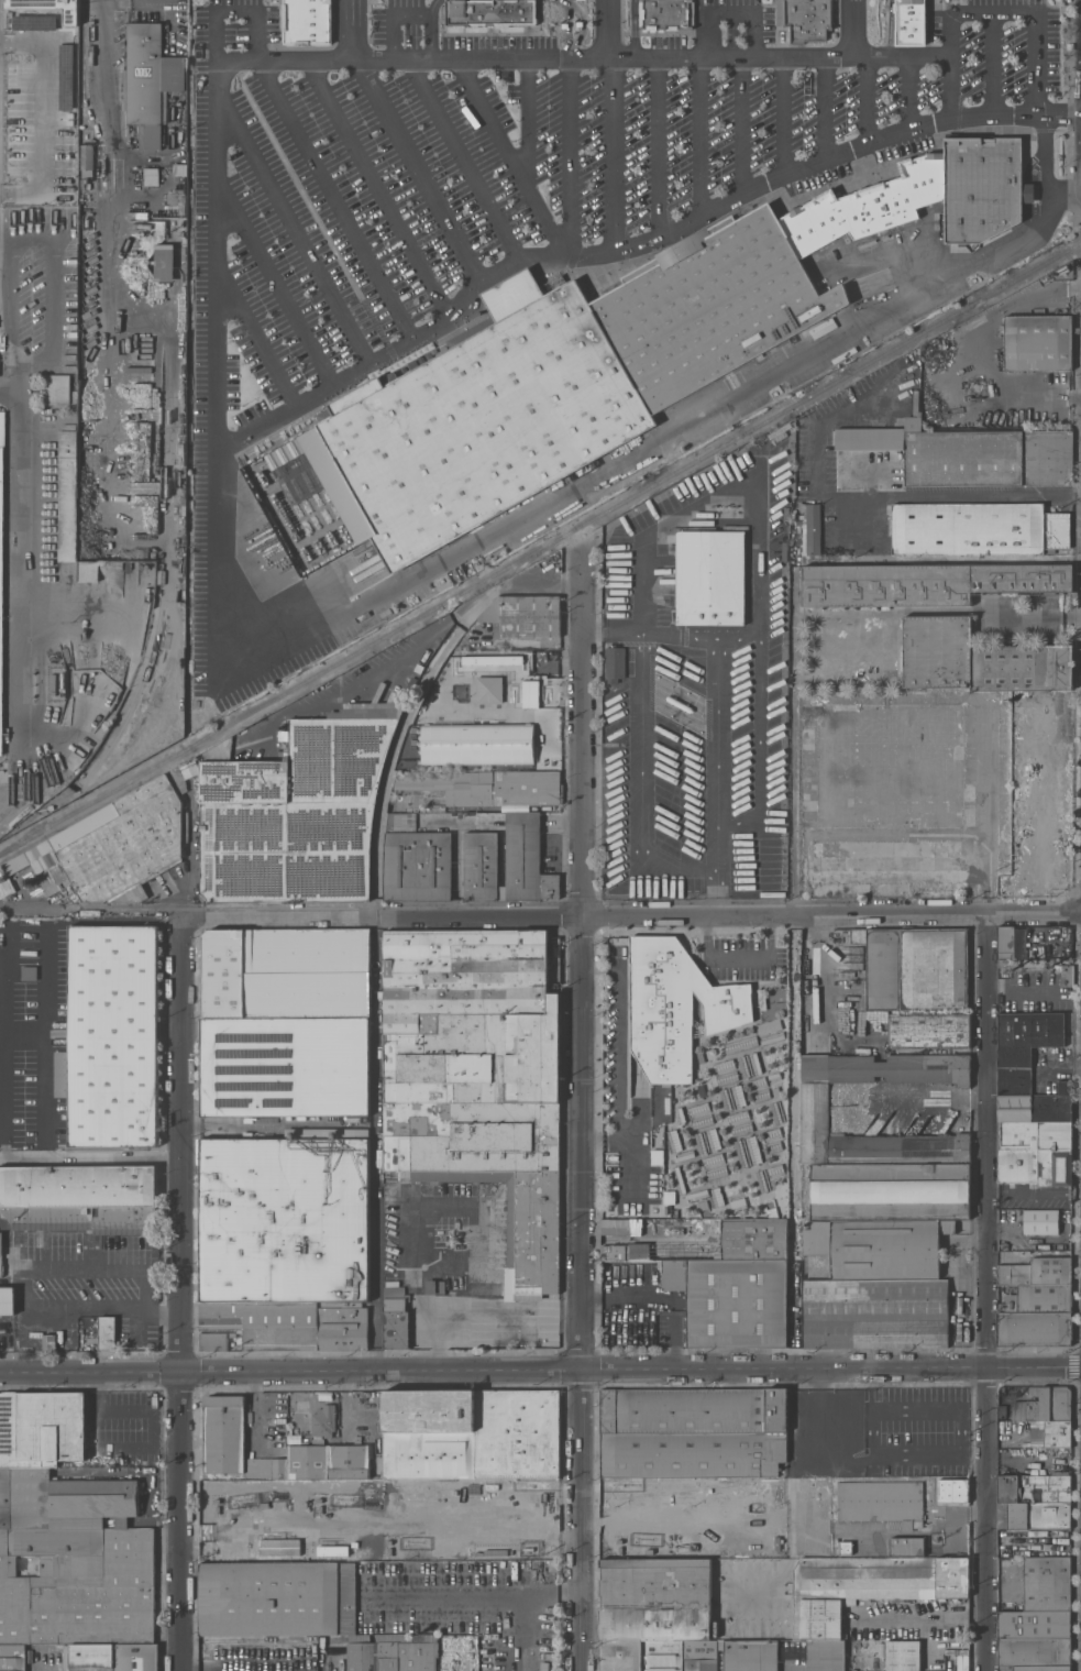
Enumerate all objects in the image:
building: (32, 3)
road: (947, 7)
building: (69, 8)
road: (748, 9)
road: (233, 10)
building: (492, 14)
building: (664, 14)
road: (393, 18)
building: (805, 18)
building: (306, 21)
building: (33, 22)
building: (909, 22)
road: (582, 25)
road: (889, 26)
road: (430, 28)
road: (566, 28)
road: (632, 28)
road: (698, 28)
road: (851, 28)
road: (604, 29)
road: (352, 30)
building: (67, 58)
road: (989, 65)
building: (148, 79)
building: (10, 84)
road: (950, 86)
road: (905, 88)
road: (868, 92)
road: (823, 105)
road: (783, 110)
road: (522, 117)
road: (737, 120)
road: (698, 130)
road: (654, 140)
road: (569, 150)
road: (604, 153)
road: (1044, 154)
parking lot: (599, 157)
building: (86, 160)
road: (465, 161)
building: (179, 168)
road: (417, 172)
building: (151, 176)
building: (67, 183)
building: (85, 183)
road: (379, 183)
building: (983, 186)
road: (332, 195)
building: (868, 204)
road: (695, 205)
building: (85, 221)
road: (47, 231)
building: (142, 231)
road: (287, 232)
road: (4, 239)
road: (108, 241)
building: (163, 264)
road: (272, 285)
building: (947, 287)
road: (1073, 303)
building: (709, 304)
building: (893, 322)
building: (823, 328)
road: (254, 331)
building: (1036, 341)
road: (389, 343)
road: (973, 343)
road: (214, 352)
building: (832, 358)
building: (68, 362)
building: (55, 388)
road: (1073, 394)
road: (9, 395)
building: (473, 421)
building: (969, 452)
building: (66, 495)
road: (886, 495)
building: (977, 527)
building: (812, 528)
building: (0, 549)
railway: (540, 549)
road: (757, 560)
building: (87, 570)
building: (708, 573)
building: (924, 582)
road: (19, 586)
building: (796, 590)
railway: (163, 611)
building: (523, 615)
road: (1032, 616)
building: (842, 631)
road: (618, 634)
road: (737, 635)
building: (977, 658)
building: (613, 663)
road: (716, 717)
road: (793, 750)
building: (486, 785)
road: (639, 787)
building: (295, 811)
road: (989, 812)
building: (113, 845)
road: (184, 846)
building: (384, 855)
building: (505, 858)
building: (415, 860)
building: (0, 870)
building: (5, 888)
road: (709, 892)
road: (717, 892)
road: (540, 915)
road: (770, 931)
building: (1005, 941)
road: (721, 957)
building: (1006, 961)
building: (1034, 961)
road: (821, 963)
building: (914, 967)
building: (29, 971)
building: (284, 972)
building: (1065, 974)
building: (674, 1005)
building: (927, 1030)
building: (770, 1031)
building: (1026, 1035)
building: (110, 1036)
building: (740, 1043)
road: (1049, 1060)
building: (749, 1065)
building: (284, 1066)
road: (619, 1067)
building: (725, 1073)
building: (774, 1077)
building: (477, 1078)
building: (1013, 1080)
building: (1063, 1086)
building: (759, 1089)
building: (698, 1090)
building: (732, 1098)
road: (925, 1101)
building: (1034, 1107)
building: (815, 1109)
building: (776, 1111)
building: (679, 1114)
building: (699, 1114)
building: (936, 1117)
road: (588, 1120)
building: (739, 1122)
building: (1035, 1134)
building: (772, 1139)
building: (674, 1141)
building: (706, 1141)
road: (181, 1143)
road: (42, 1144)
building: (747, 1151)
building: (684, 1155)
building: (657, 1156)
road: (627, 1165)
building: (714, 1166)
building: (1035, 1166)
building: (768, 1177)
building: (677, 1179)
building: (889, 1190)
road: (990, 1192)
road: (1033, 1192)
building: (707, 1194)
road: (1070, 1194)
road: (1076, 1194)
building: (668, 1196)
building: (78, 1198)
building: (737, 1201)
road: (423, 1205)
building: (285, 1218)
building: (1039, 1221)
building: (752, 1239)
building: (878, 1246)
building: (1, 1253)
building: (1036, 1271)
road: (23, 1285)
building: (433, 1286)
building: (484, 1289)
road: (983, 1291)
road: (664, 1297)
building: (1037, 1298)
building: (7, 1299)
building: (730, 1299)
building: (874, 1312)
road: (460, 1313)
road: (561, 1313)
building: (395, 1316)
building: (291, 1324)
building: (1034, 1328)
building: (106, 1332)
building: (213, 1340)
building: (48, 1341)
road: (632, 1371)
road: (91, 1373)
building: (1044, 1405)
building: (1001, 1410)
road: (256, 1411)
building: (321, 1422)
building: (42, 1428)
building: (692, 1431)
building: (222, 1432)
building: (468, 1433)
building: (1049, 1433)
building: (321, 1461)
building: (1034, 1488)
building: (952, 1489)
building: (5, 1497)
building: (68, 1499)
building: (880, 1500)
building: (1038, 1515)
road: (180, 1521)
building: (906, 1546)
building: (278, 1547)
building: (845, 1547)
building: (1046, 1583)
building: (77, 1585)
building: (871, 1585)
building: (276, 1597)
road: (528, 1607)
building: (651, 1612)
building: (1033, 1624)
building: (871, 1647)
building: (453, 1648)
building: (1032, 1651)
building: (699, 1654)
building: (750, 1654)
building: (825, 1654)
building: (902, 1654)
building: (114, 1656)
building: (388, 1656)
building: (418, 1656)
building: (12, 1657)
building: (362, 1657)
building: (957, 1662)
building: (1040, 1668)

